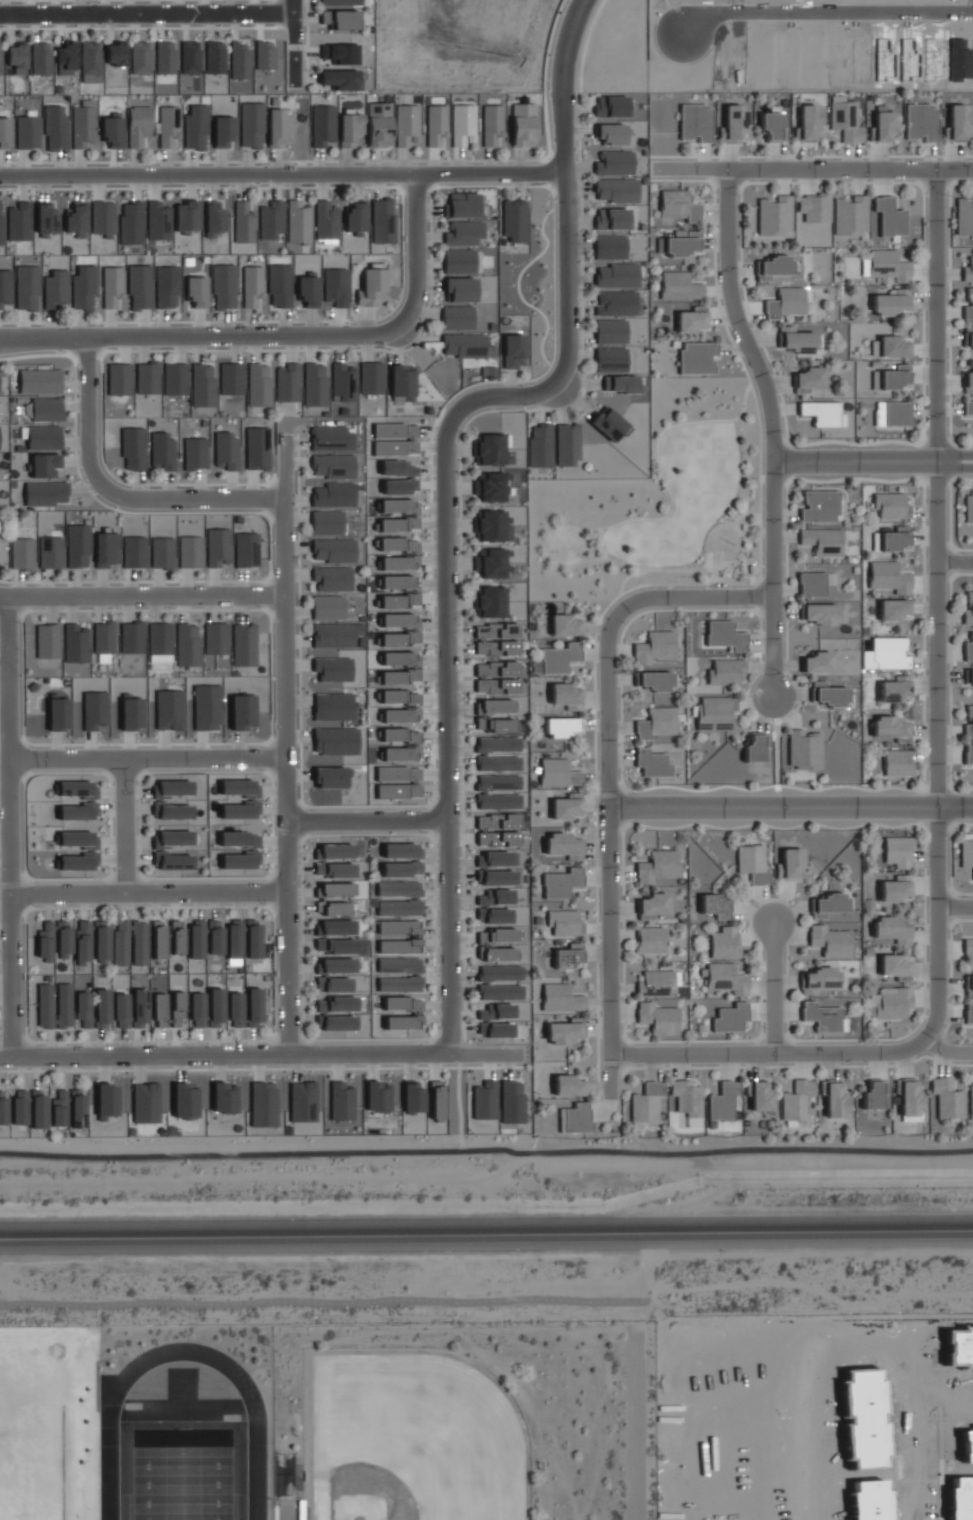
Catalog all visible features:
building: (340, 2)
road: (839, 9)
road: (146, 14)
road: (149, 27)
road: (293, 42)
building: (342, 53)
building: (115, 54)
building: (264, 55)
building: (17, 57)
building: (40, 57)
building: (140, 57)
building: (165, 57)
building: (190, 57)
building: (215, 57)
building: (66, 58)
building: (239, 60)
building: (90, 61)
building: (0, 70)
building: (341, 79)
building: (610, 106)
building: (844, 119)
building: (808, 121)
building: (920, 121)
building: (694, 122)
building: (957, 122)
building: (82, 124)
building: (378, 124)
building: (436, 124)
building: (462, 124)
building: (491, 124)
building: (522, 124)
building: (732, 124)
building: (250, 125)
building: (321, 125)
building: (406, 125)
building: (883, 125)
building: (138, 126)
building: (167, 126)
building: (771, 126)
building: (55, 127)
building: (194, 127)
building: (278, 127)
building: (112, 130)
building: (349, 130)
building: (222, 131)
building: (4, 132)
building: (26, 132)
building: (610, 133)
road: (352, 160)
building: (613, 162)
road: (812, 169)
road: (282, 174)
road: (416, 187)
road: (399, 188)
building: (615, 190)
building: (463, 205)
building: (678, 206)
building: (814, 207)
building: (774, 215)
building: (850, 215)
building: (888, 216)
building: (964, 216)
building: (186, 217)
building: (213, 217)
building: (45, 218)
building: (102, 218)
building: (355, 218)
building: (611, 218)
building: (76, 219)
building: (271, 219)
building: (325, 220)
building: (18, 221)
building: (157, 221)
building: (382, 221)
building: (514, 221)
building: (243, 222)
building: (298, 222)
building: (131, 223)
building: (0, 225)
building: (462, 233)
building: (683, 242)
building: (609, 247)
road: (400, 248)
road: (416, 250)
building: (458, 261)
building: (888, 265)
building: (773, 269)
building: (968, 270)
building: (616, 275)
building: (252, 285)
building: (279, 285)
building: (5, 286)
building: (222, 286)
building: (335, 286)
building: (370, 286)
building: (679, 286)
building: (26, 287)
building: (112, 287)
building: (139, 287)
building: (166, 287)
building: (54, 288)
building: (82, 288)
building: (307, 289)
building: (460, 289)
building: (195, 291)
building: (891, 302)
building: (616, 303)
building: (785, 303)
building: (968, 305)
building: (456, 317)
building: (691, 319)
building: (610, 331)
road: (202, 336)
building: (969, 337)
building: (797, 340)
building: (465, 345)
building: (893, 346)
road: (186, 349)
building: (512, 350)
road: (86, 352)
road: (101, 353)
road: (71, 355)
building: (696, 357)
building: (610, 359)
road: (744, 370)
building: (371, 377)
building: (894, 377)
building: (147, 378)
building: (175, 378)
building: (231, 378)
building: (119, 379)
building: (808, 379)
road: (748, 380)
building: (39, 381)
building: (287, 382)
building: (342, 382)
building: (401, 382)
building: (968, 382)
building: (619, 383)
building: (202, 385)
building: (258, 385)
building: (314, 385)
building: (968, 407)
building: (46, 409)
building: (820, 412)
building: (892, 413)
building: (608, 423)
road: (87, 429)
road: (771, 429)
building: (43, 437)
building: (331, 438)
building: (394, 439)
building: (567, 443)
building: (540, 446)
building: (133, 448)
building: (257, 448)
building: (489, 449)
building: (162, 451)
building: (225, 451)
building: (195, 453)
road: (872, 461)
building: (44, 465)
building: (332, 465)
building: (398, 477)
road: (805, 480)
road: (445, 483)
building: (493, 486)
building: (46, 493)
building: (332, 495)
road: (268, 498)
road: (207, 499)
park: (655, 502)
building: (889, 504)
building: (819, 506)
building: (968, 507)
road: (234, 512)
building: (409, 515)
road: (657, 519)
building: (326, 522)
building: (493, 526)
road: (734, 527)
building: (893, 539)
building: (822, 541)
building: (397, 544)
park: (568, 545)
building: (77, 546)
building: (218, 547)
building: (105, 549)
building: (246, 549)
road: (546, 549)
building: (333, 550)
building: (134, 551)
building: (190, 551)
building: (50, 552)
building: (22, 553)
building: (162, 553)
building: (398, 562)
road: (954, 562)
building: (494, 563)
road: (711, 563)
building: (889, 577)
building: (331, 578)
road: (689, 583)
building: (811, 584)
building: (398, 591)
road: (618, 592)
road: (266, 594)
road: (620, 594)
road: (145, 597)
building: (491, 601)
road: (936, 605)
building: (327, 607)
building: (893, 609)
building: (968, 609)
road: (12, 610)
building: (819, 613)
road: (269, 618)
building: (565, 625)
building: (399, 629)
building: (333, 635)
building: (725, 635)
building: (131, 637)
building: (103, 638)
building: (215, 638)
building: (495, 639)
building: (47, 641)
building: (159, 642)
building: (75, 643)
building: (187, 644)
building: (243, 644)
building: (654, 647)
building: (968, 648)
building: (889, 653)
building: (558, 657)
building: (400, 658)
building: (867, 659)
building: (817, 662)
building: (332, 669)
building: (725, 671)
building: (397, 676)
building: (496, 677)
building: (969, 678)
building: (653, 680)
road: (298, 689)
building: (895, 689)
building: (828, 694)
building: (566, 696)
building: (332, 706)
building: (399, 706)
building: (206, 707)
building: (93, 709)
building: (169, 709)
building: (242, 711)
building: (58, 712)
building: (130, 712)
building: (715, 712)
building: (482, 715)
building: (656, 723)
building: (969, 723)
building: (560, 726)
building: (890, 728)
road: (775, 740)
building: (335, 741)
building: (411, 744)
road: (283, 746)
building: (755, 746)
building: (804, 749)
building: (497, 753)
building: (968, 754)
road: (268, 757)
road: (25, 758)
road: (147, 759)
building: (897, 762)
building: (651, 763)
road: (261, 771)
building: (397, 773)
building: (557, 773)
road: (30, 774)
road: (608, 774)
road: (123, 775)
building: (331, 777)
building: (170, 788)
building: (398, 790)
building: (497, 791)
building: (250, 799)
building: (89, 802)
building: (566, 806)
road: (790, 807)
building: (172, 811)
road: (430, 819)
road: (302, 820)
road: (366, 820)
road: (11, 824)
road: (123, 825)
building: (497, 829)
road: (923, 832)
road: (419, 835)
building: (169, 840)
building: (564, 845)
building: (250, 849)
building: (77, 850)
building: (401, 850)
building: (335, 851)
building: (897, 851)
building: (966, 852)
building: (492, 858)
building: (173, 861)
building: (752, 863)
building: (789, 864)
road: (595, 866)
building: (656, 866)
building: (401, 869)
building: (333, 870)
road: (125, 876)
building: (496, 877)
building: (560, 882)
building: (895, 888)
building: (335, 889)
road: (148, 891)
road: (270, 892)
road: (26, 894)
building: (495, 897)
building: (398, 898)
building: (827, 904)
building: (714, 906)
road: (260, 907)
building: (652, 907)
road: (955, 907)
building: (332, 908)
building: (493, 915)
building: (564, 922)
building: (336, 927)
building: (893, 930)
building: (496, 935)
building: (176, 936)
building: (214, 936)
building: (413, 936)
building: (252, 938)
building: (45, 939)
building: (62, 939)
building: (82, 939)
building: (195, 939)
building: (159, 940)
building: (648, 940)
building: (234, 941)
building: (830, 941)
building: (100, 942)
building: (139, 942)
building: (724, 942)
building: (120, 943)
building: (334, 946)
building: (968, 948)
building: (498, 954)
building: (567, 955)
building: (337, 965)
building: (499, 972)
building: (399, 974)
building: (725, 978)
building: (818, 980)
building: (654, 982)
building: (969, 983)
building: (332, 984)
road: (773, 989)
building: (500, 991)
building: (560, 998)
building: (890, 1003)
building: (335, 1004)
building: (54, 1005)
building: (139, 1007)
building: (176, 1007)
building: (215, 1007)
building: (253, 1007)
building: (83, 1008)
building: (101, 1008)
building: (196, 1009)
building: (235, 1009)
building: (121, 1010)
building: (158, 1010)
building: (417, 1012)
building: (495, 1012)
building: (968, 1012)
building: (821, 1016)
building: (729, 1017)
building: (657, 1018)
building: (337, 1023)
building: (494, 1030)
building: (565, 1031)
road: (287, 1037)
road: (14, 1041)
road: (795, 1053)
road: (257, 1055)
road: (784, 1065)
building: (568, 1085)
building: (873, 1094)
building: (377, 1096)
building: (412, 1096)
building: (760, 1096)
building: (223, 1097)
building: (686, 1097)
building: (947, 1098)
building: (436, 1099)
building: (834, 1099)
building: (909, 1099)
building: (185, 1100)
building: (484, 1100)
building: (797, 1100)
building: (106, 1101)
building: (302, 1101)
building: (341, 1101)
building: (511, 1101)
building: (722, 1101)
building: (971, 1101)
building: (145, 1102)
building: (646, 1102)
road: (458, 1103)
building: (263, 1104)
building: (2, 1107)
building: (19, 1107)
building: (37, 1108)
building: (58, 1108)
building: (76, 1108)
building: (574, 1118)
road: (617, 1122)
road: (487, 1150)
road: (486, 1228)
park: (408, 1438)
track: (107, 1469)
park: (185, 1474)

